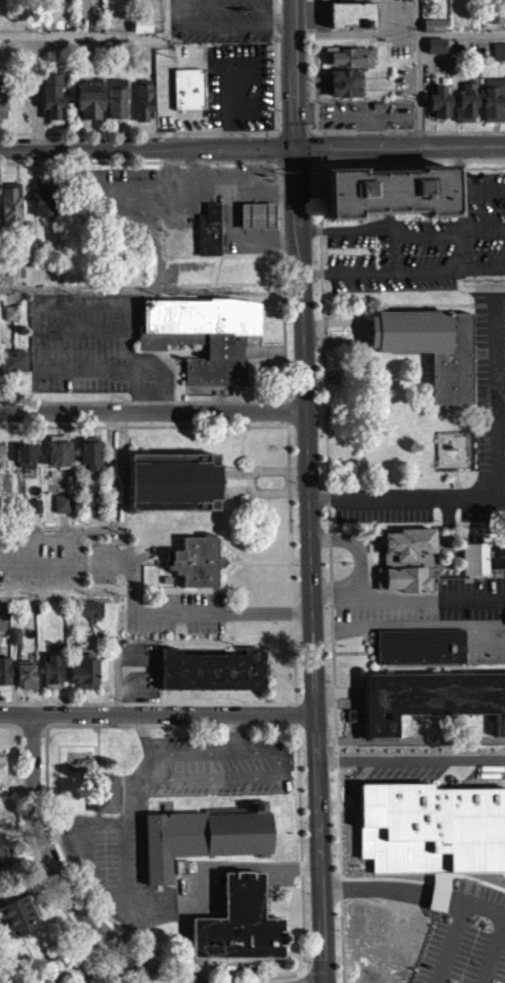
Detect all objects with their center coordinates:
building: (343, 3)
building: (349, 22)
road: (230, 23)
road: (399, 33)
building: (431, 33)
road: (101, 35)
building: (140, 35)
building: (435, 43)
building: (498, 50)
building: (435, 53)
road: (481, 53)
building: (349, 54)
building: (498, 59)
building: (347, 64)
road: (163, 70)
road: (419, 72)
road: (294, 73)
building: (343, 80)
road: (315, 82)
road: (234, 84)
road: (154, 85)
building: (188, 87)
building: (466, 95)
building: (492, 96)
building: (53, 97)
building: (89, 97)
building: (117, 97)
building: (438, 97)
building: (3, 99)
building: (143, 99)
road: (372, 115)
road: (358, 130)
road: (370, 130)
road: (463, 130)
road: (148, 132)
road: (149, 144)
road: (325, 144)
road: (401, 145)
road: (269, 146)
traffic signals: (298, 146)
road: (483, 156)
road: (123, 161)
road: (265, 161)
road: (199, 165)
road: (246, 166)
building: (388, 182)
road: (197, 185)
road: (483, 188)
road: (233, 206)
building: (43, 208)
building: (10, 213)
building: (257, 213)
building: (209, 227)
road: (353, 229)
road: (483, 229)
road: (236, 234)
road: (430, 235)
road: (461, 236)
road: (272, 239)
parking lot: (423, 243)
road: (393, 252)
road: (321, 256)
road: (403, 269)
road: (128, 289)
road: (419, 303)
road: (80, 304)
road: (127, 308)
building: (12, 312)
building: (10, 320)
road: (97, 326)
road: (55, 329)
road: (361, 330)
building: (205, 338)
parking lot: (78, 342)
building: (430, 343)
road: (52, 347)
building: (13, 359)
road: (496, 362)
road: (133, 363)
road: (55, 365)
road: (98, 369)
road: (161, 374)
parking lot: (490, 383)
road: (501, 391)
road: (142, 401)
road: (153, 412)
road: (287, 421)
road: (143, 425)
building: (26, 452)
building: (89, 452)
building: (59, 453)
building: (2, 455)
road: (498, 462)
road: (125, 468)
building: (172, 479)
road: (251, 481)
road: (112, 486)
road: (494, 491)
road: (398, 495)
building: (61, 511)
building: (89, 511)
road: (354, 546)
road: (311, 564)
building: (481, 565)
building: (406, 568)
building: (194, 569)
road: (27, 598)
road: (403, 598)
building: (89, 618)
road: (403, 624)
building: (13, 644)
building: (419, 654)
building: (212, 678)
building: (51, 680)
building: (83, 680)
building: (4, 681)
building: (24, 684)
building: (429, 706)
road: (157, 711)
building: (350, 723)
road: (477, 756)
road: (402, 758)
road: (336, 759)
building: (72, 771)
building: (1, 776)
building: (104, 801)
building: (432, 829)
building: (201, 845)
building: (2, 857)
road: (57, 872)
road: (238, 875)
road: (414, 889)
building: (15, 925)
building: (237, 931)
parking lot: (468, 938)
road: (449, 942)
road: (197, 944)
road: (493, 951)
road: (198, 973)
building: (94, 981)

